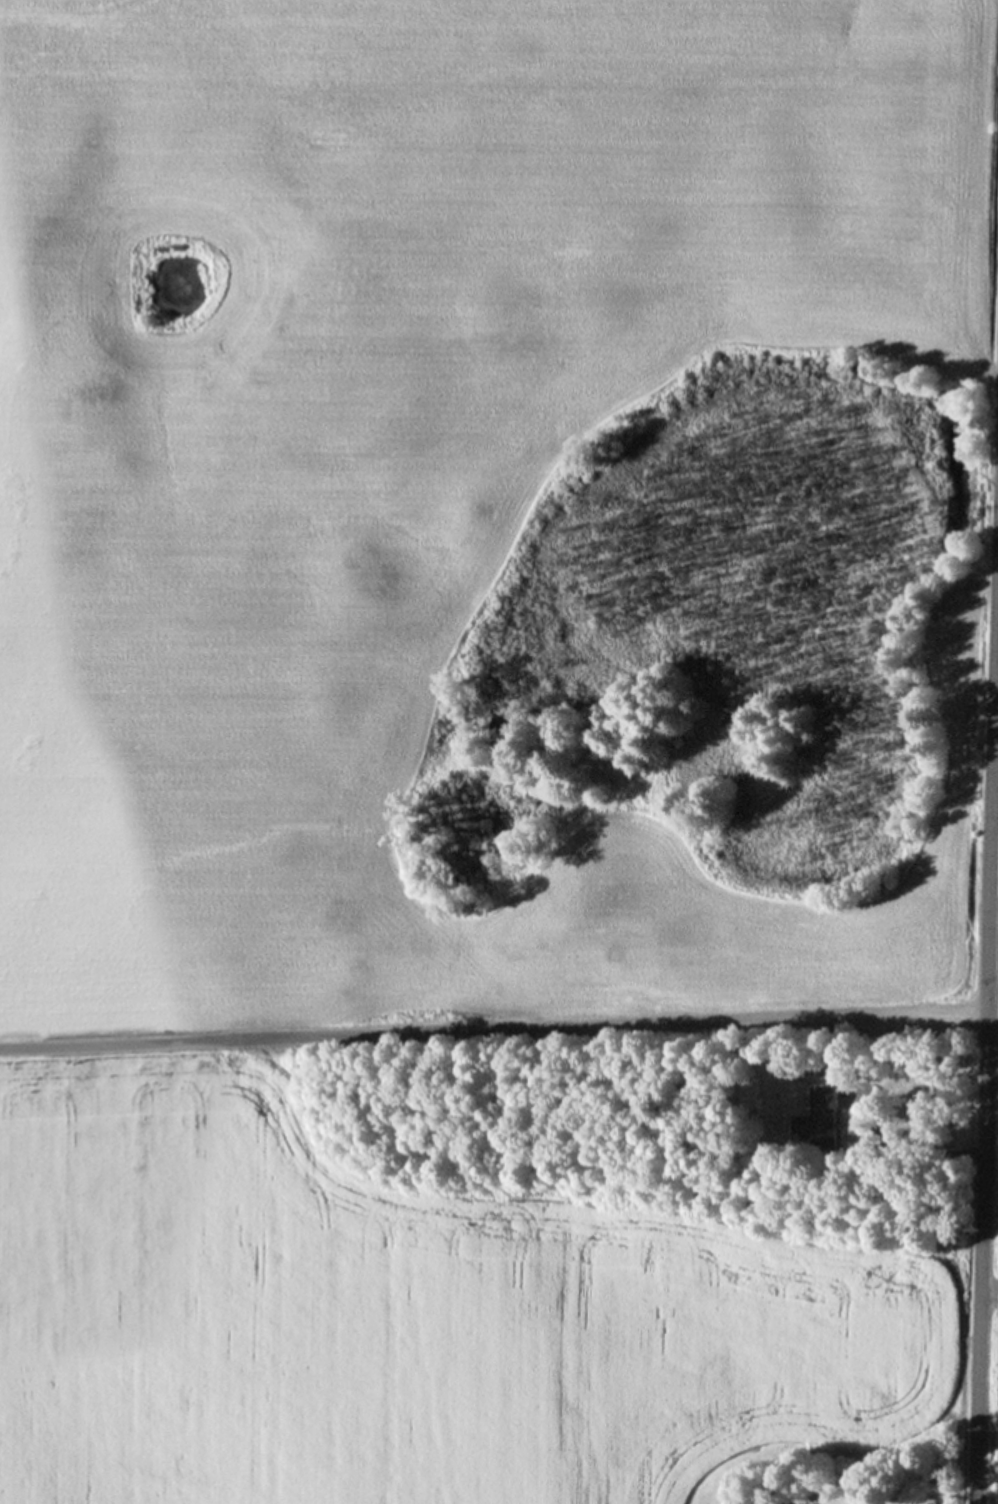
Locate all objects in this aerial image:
road: (987, 1022)
road: (493, 1026)
building: (827, 1111)
building: (934, 1500)

